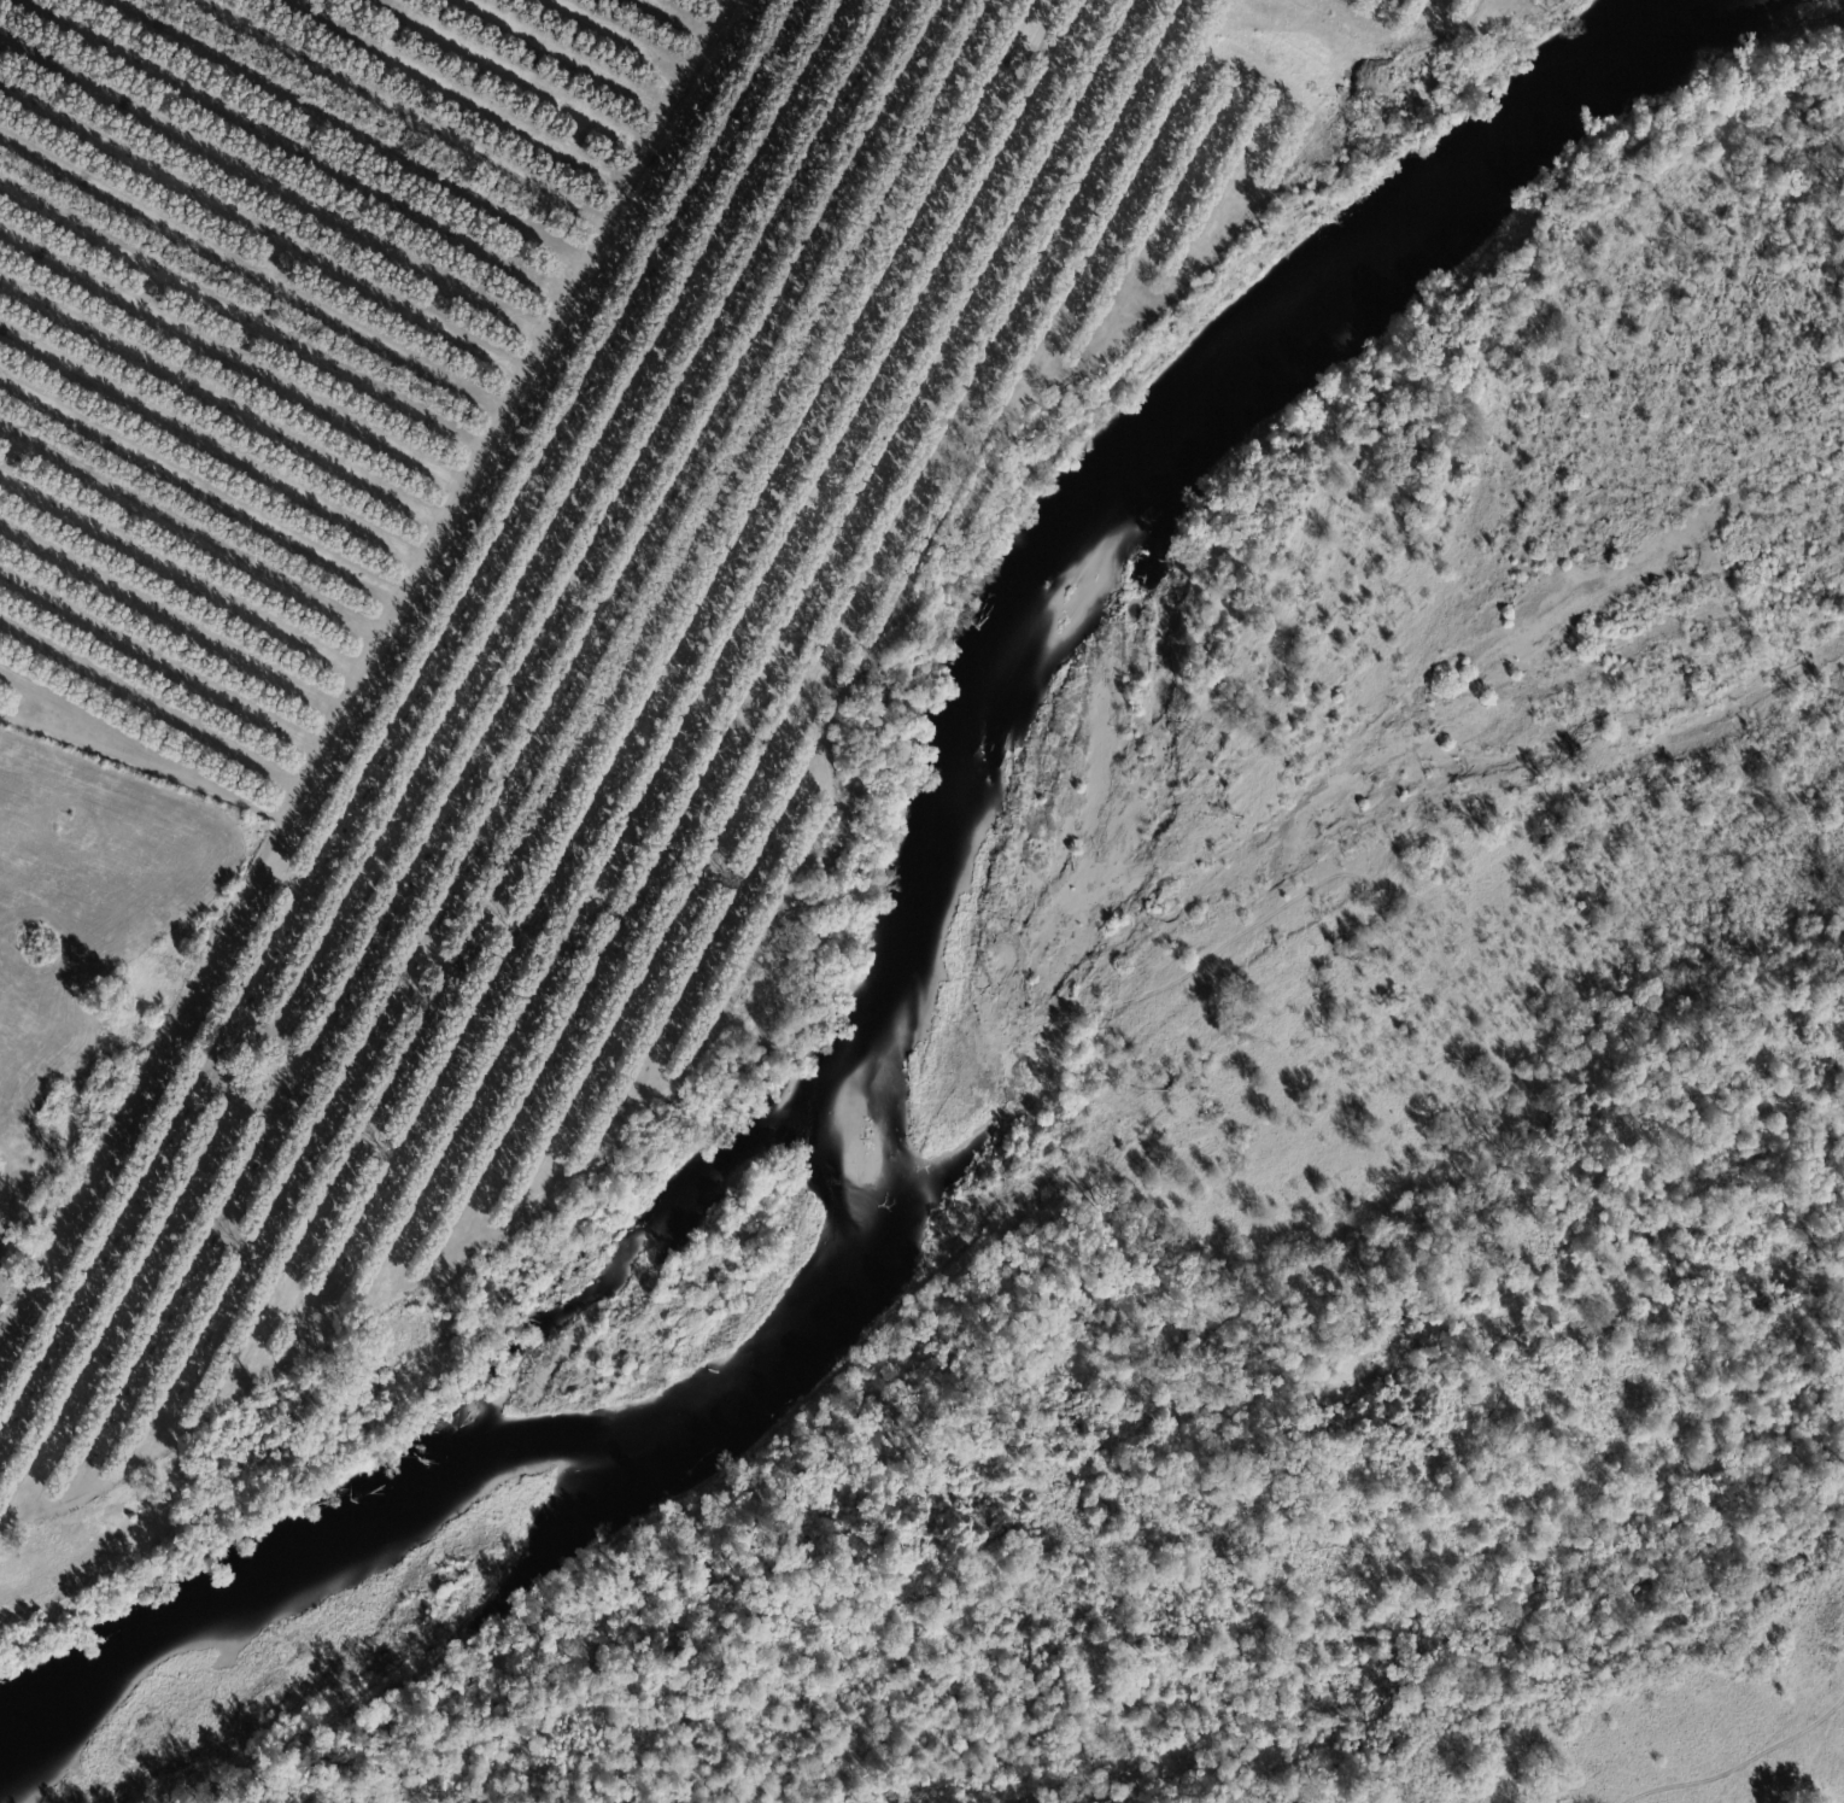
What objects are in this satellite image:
river: (924, 977)

